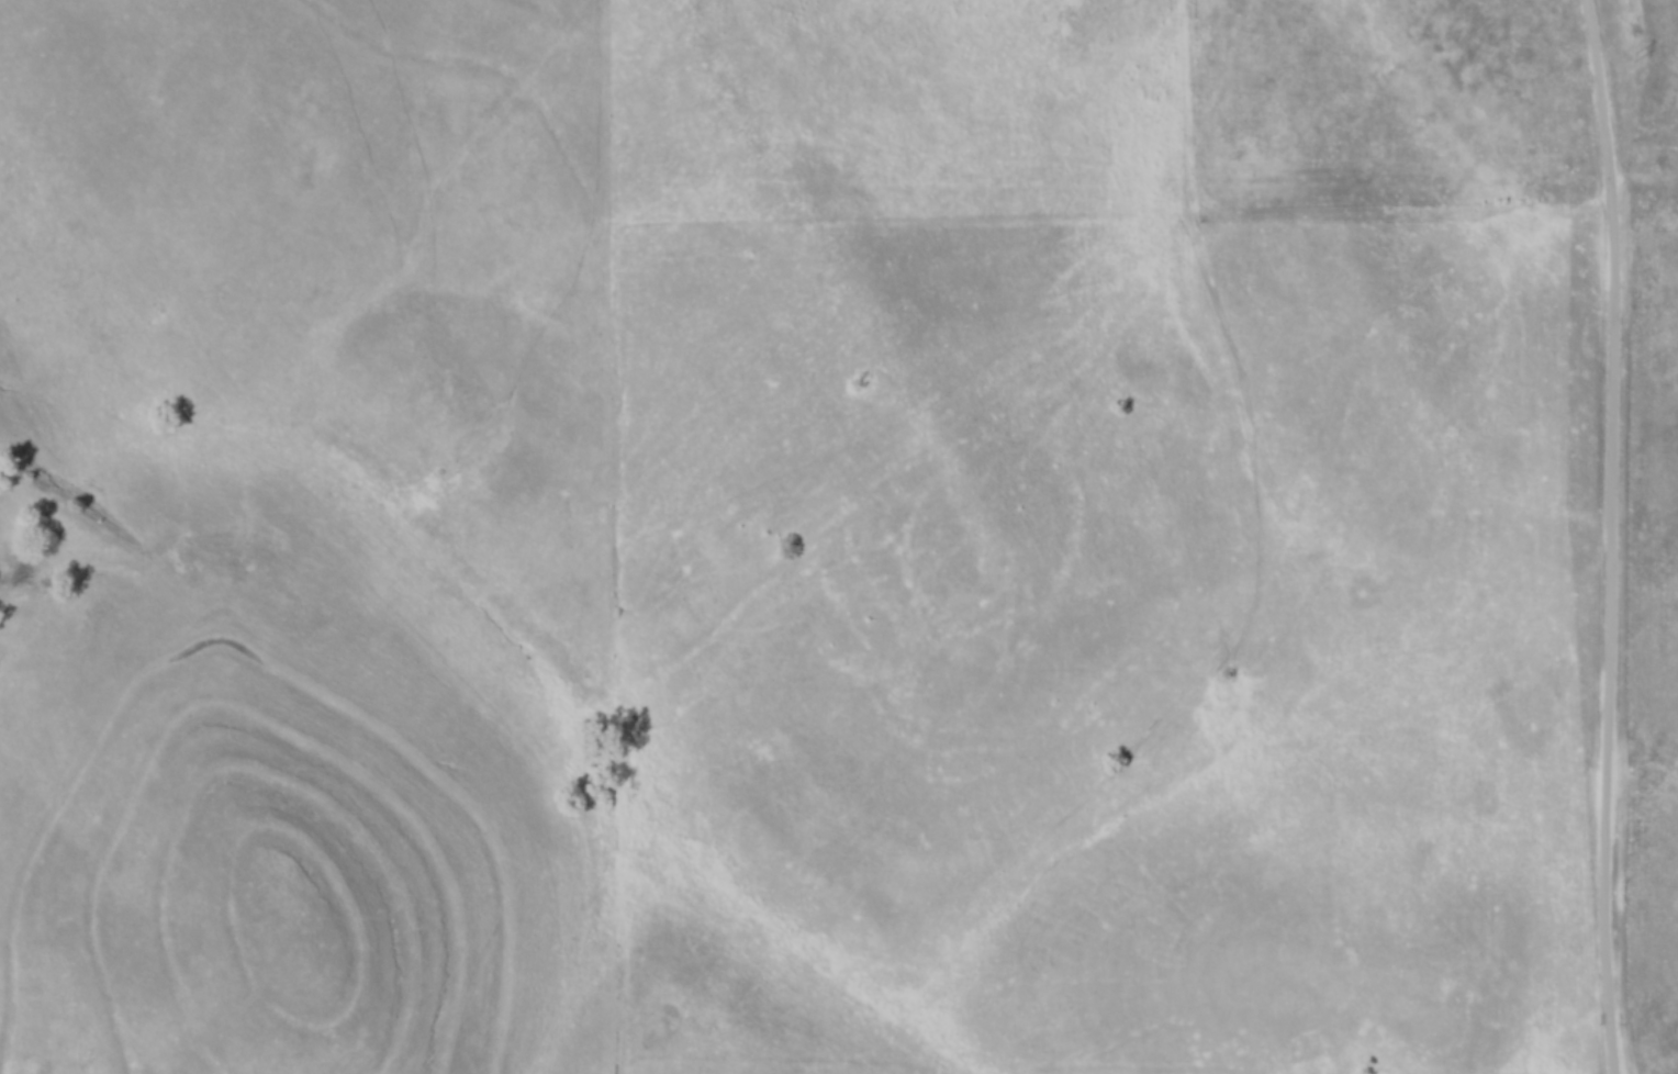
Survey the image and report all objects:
road: (1611, 536)

